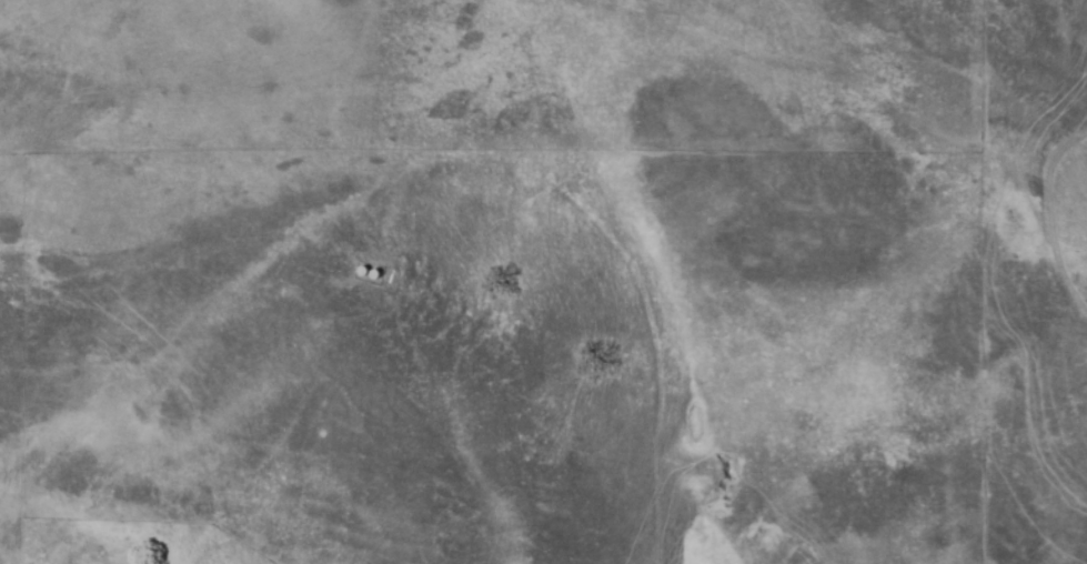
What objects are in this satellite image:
road: (1049, 215)

